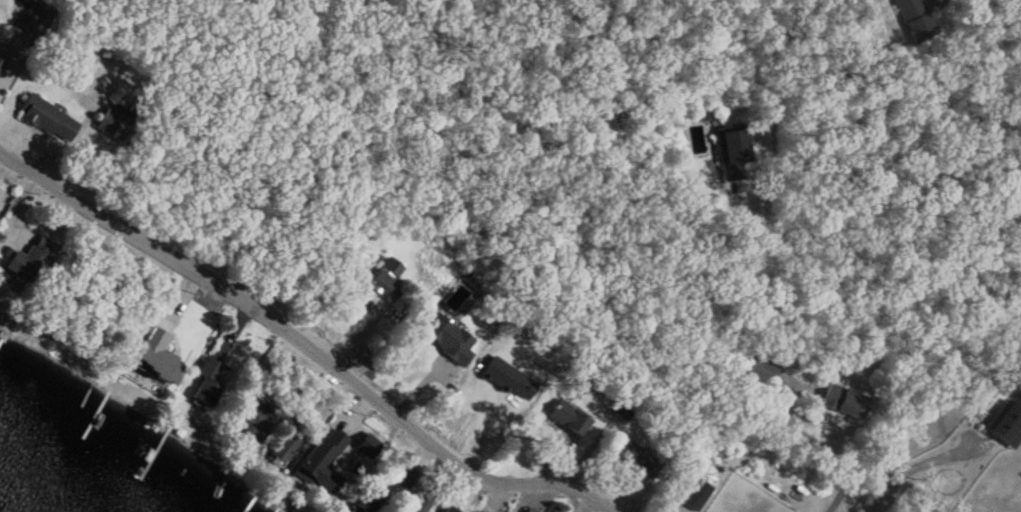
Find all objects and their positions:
building: (30, 17)
building: (913, 18)
building: (1, 65)
road: (772, 107)
building: (46, 118)
building: (111, 123)
building: (730, 152)
building: (30, 260)
building: (381, 276)
building: (445, 338)
road: (305, 345)
building: (167, 365)
building: (758, 369)
building: (207, 383)
building: (840, 401)
building: (568, 419)
building: (255, 420)
building: (284, 447)
road: (817, 447)
building: (635, 459)
road: (917, 468)
building: (310, 469)
building: (404, 475)

